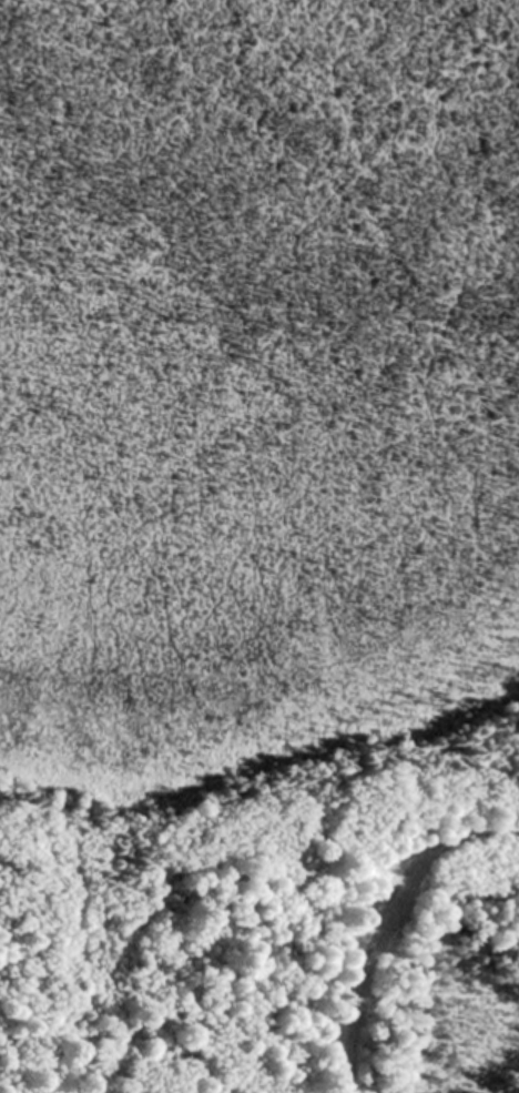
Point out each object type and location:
road: (430, 959)

